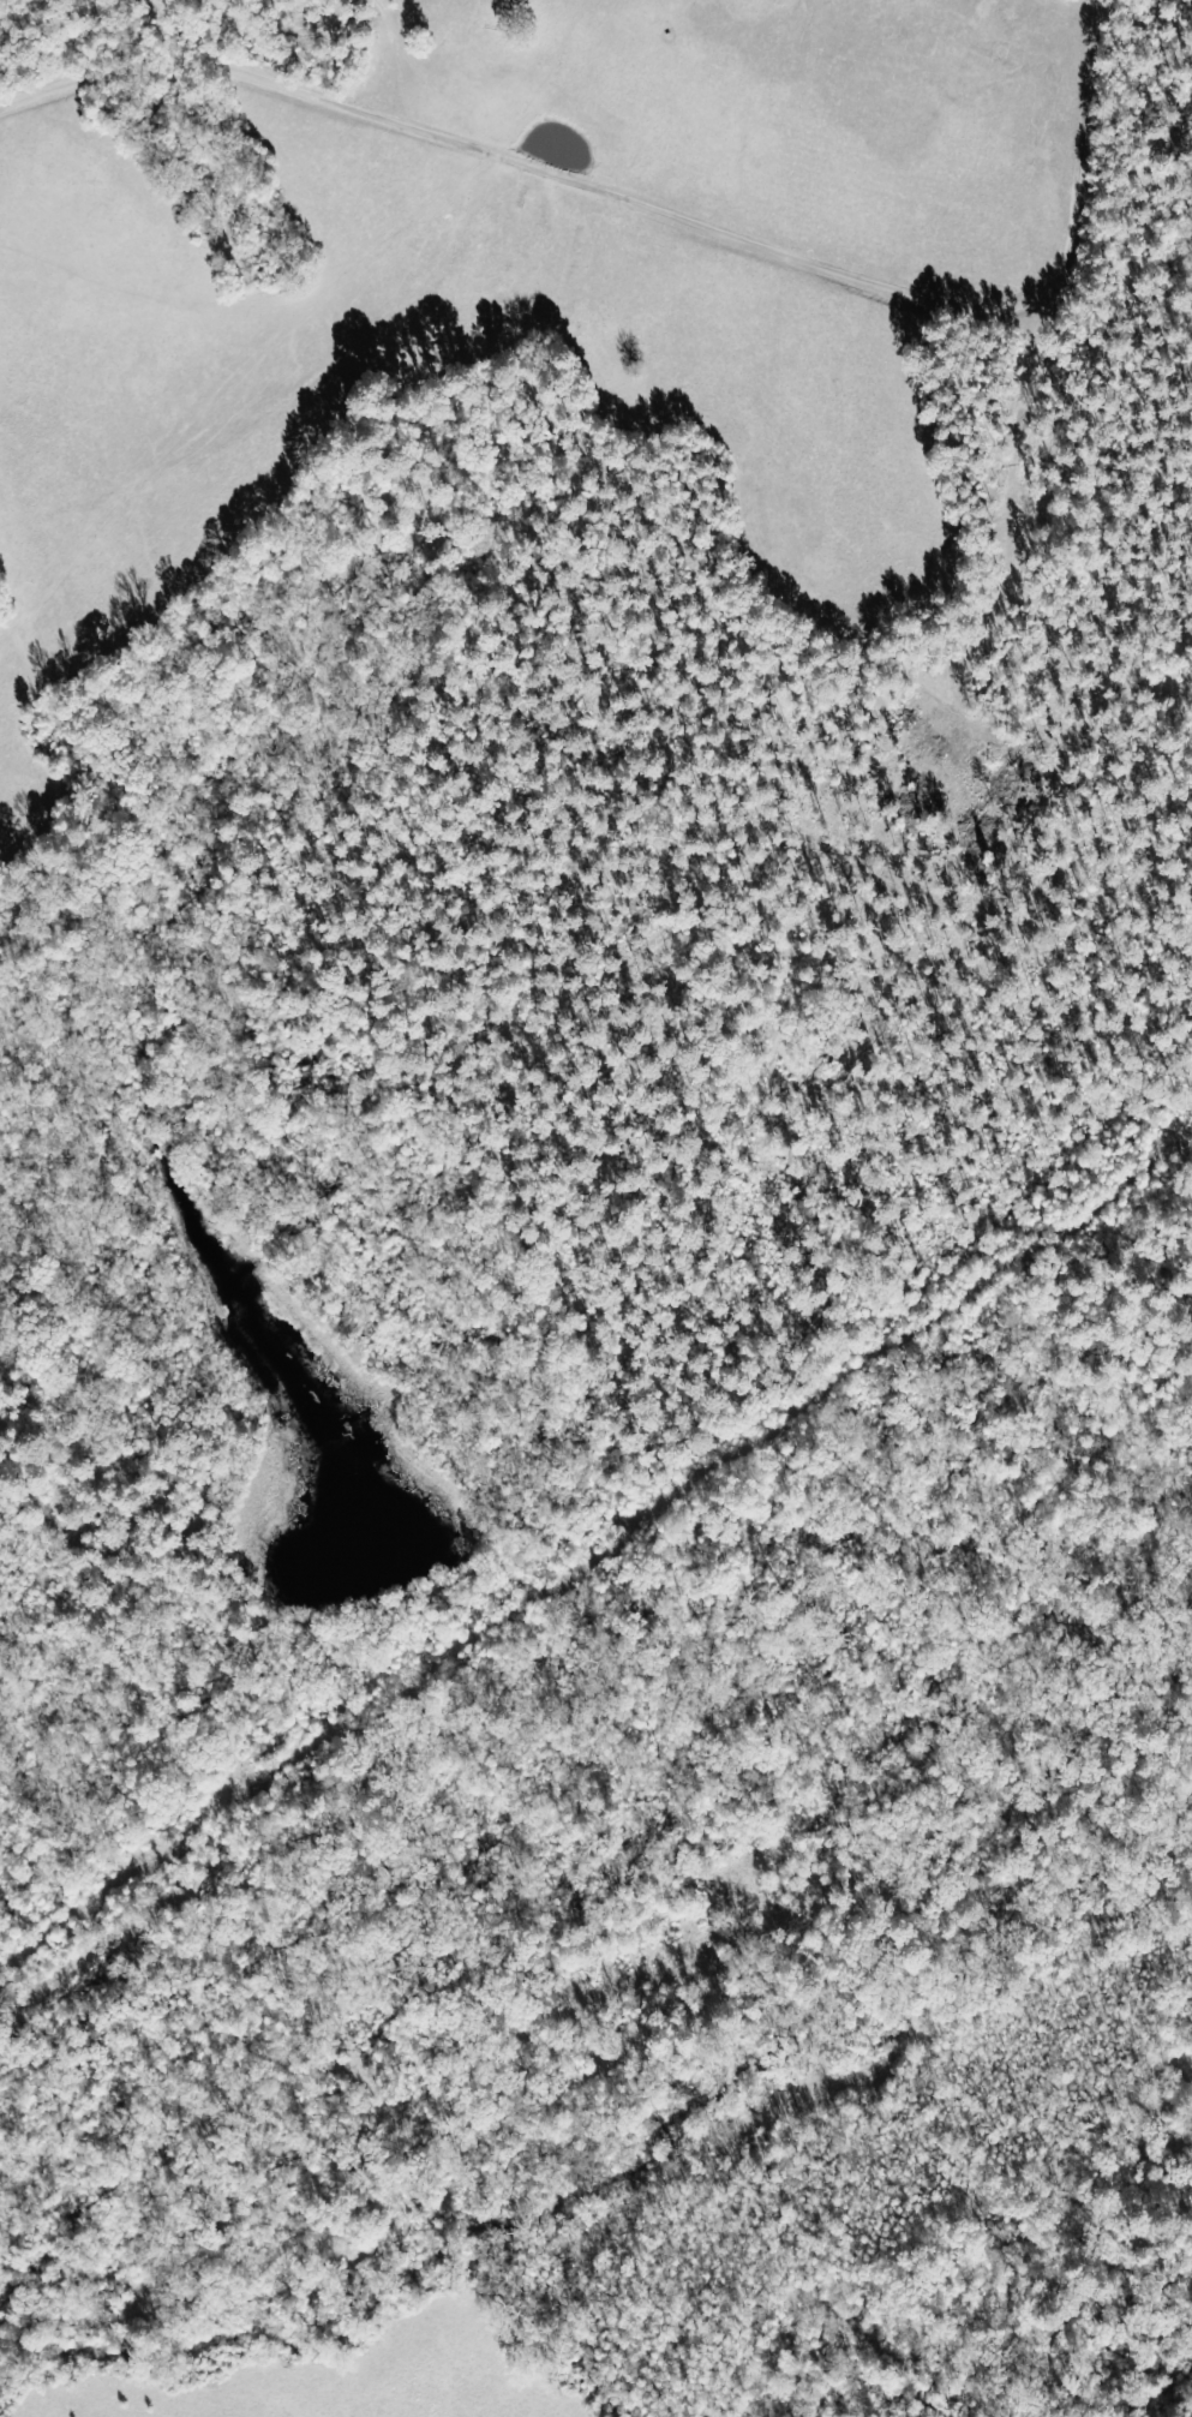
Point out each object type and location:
road: (241, 109)

